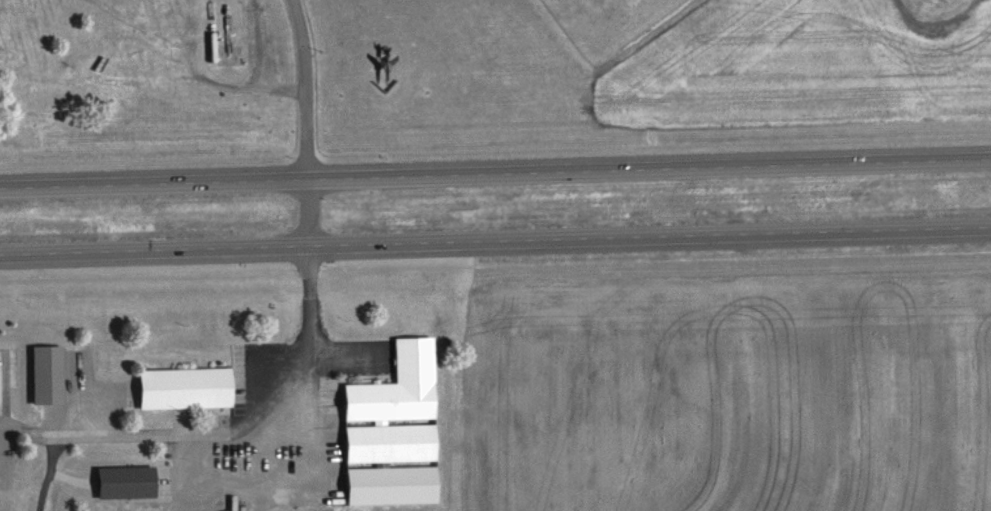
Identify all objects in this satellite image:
airport: (937, 16)
airport: (317, 53)
road: (308, 124)
road: (495, 172)
road: (495, 244)
building: (43, 374)
building: (180, 388)
building: (389, 431)
building: (121, 481)

